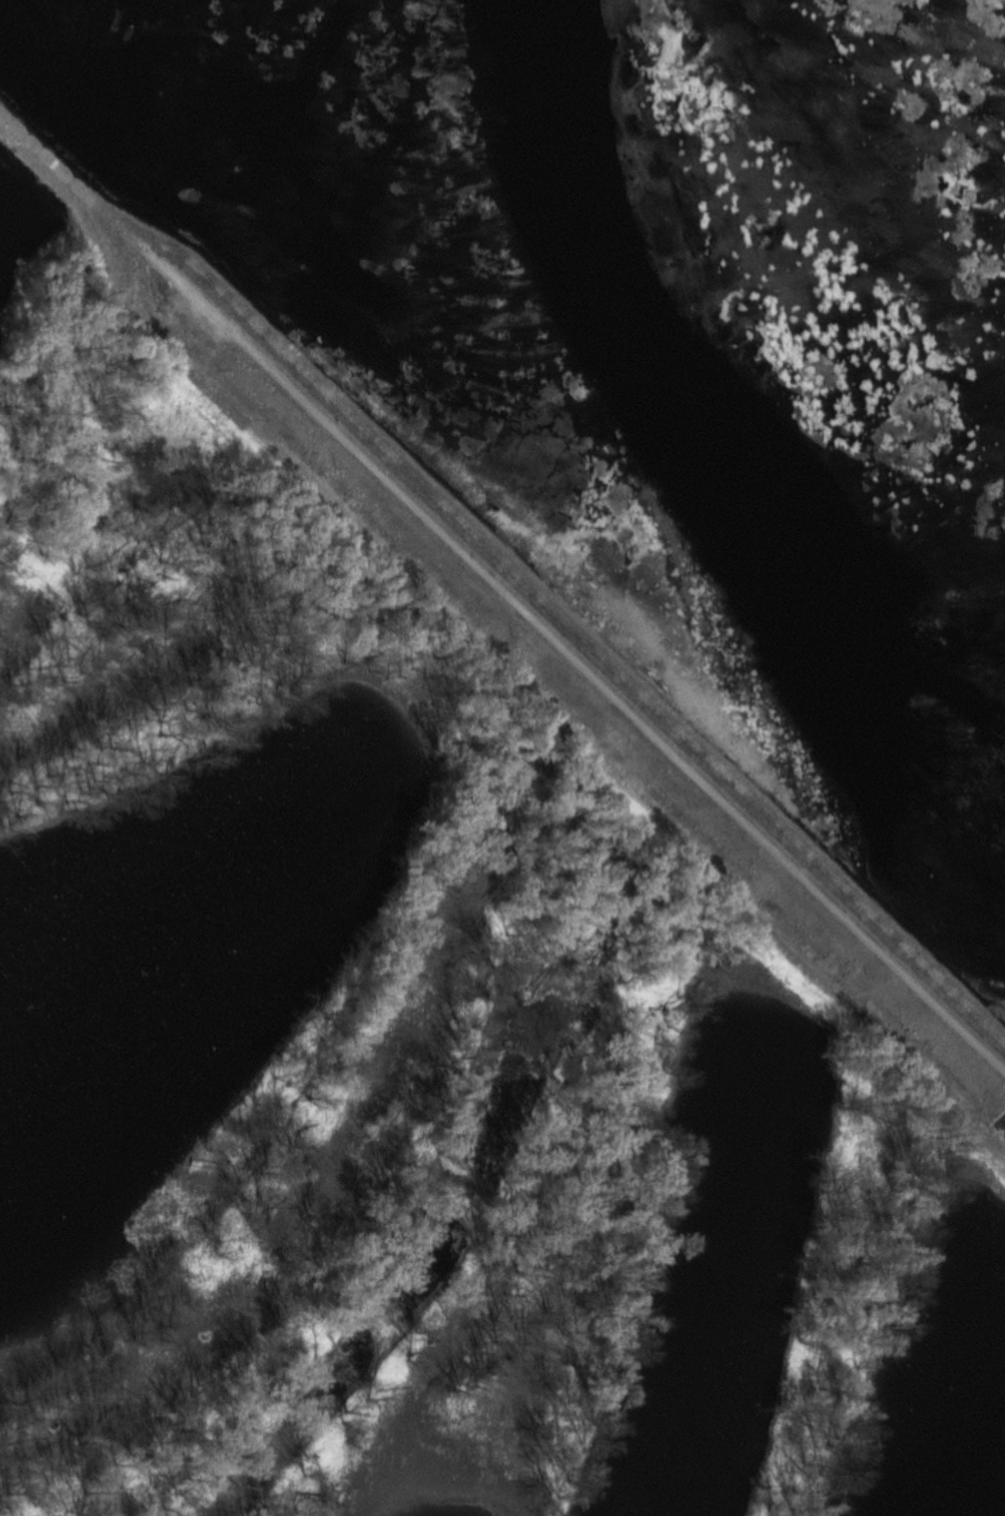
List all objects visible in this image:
dam: (502, 608)

